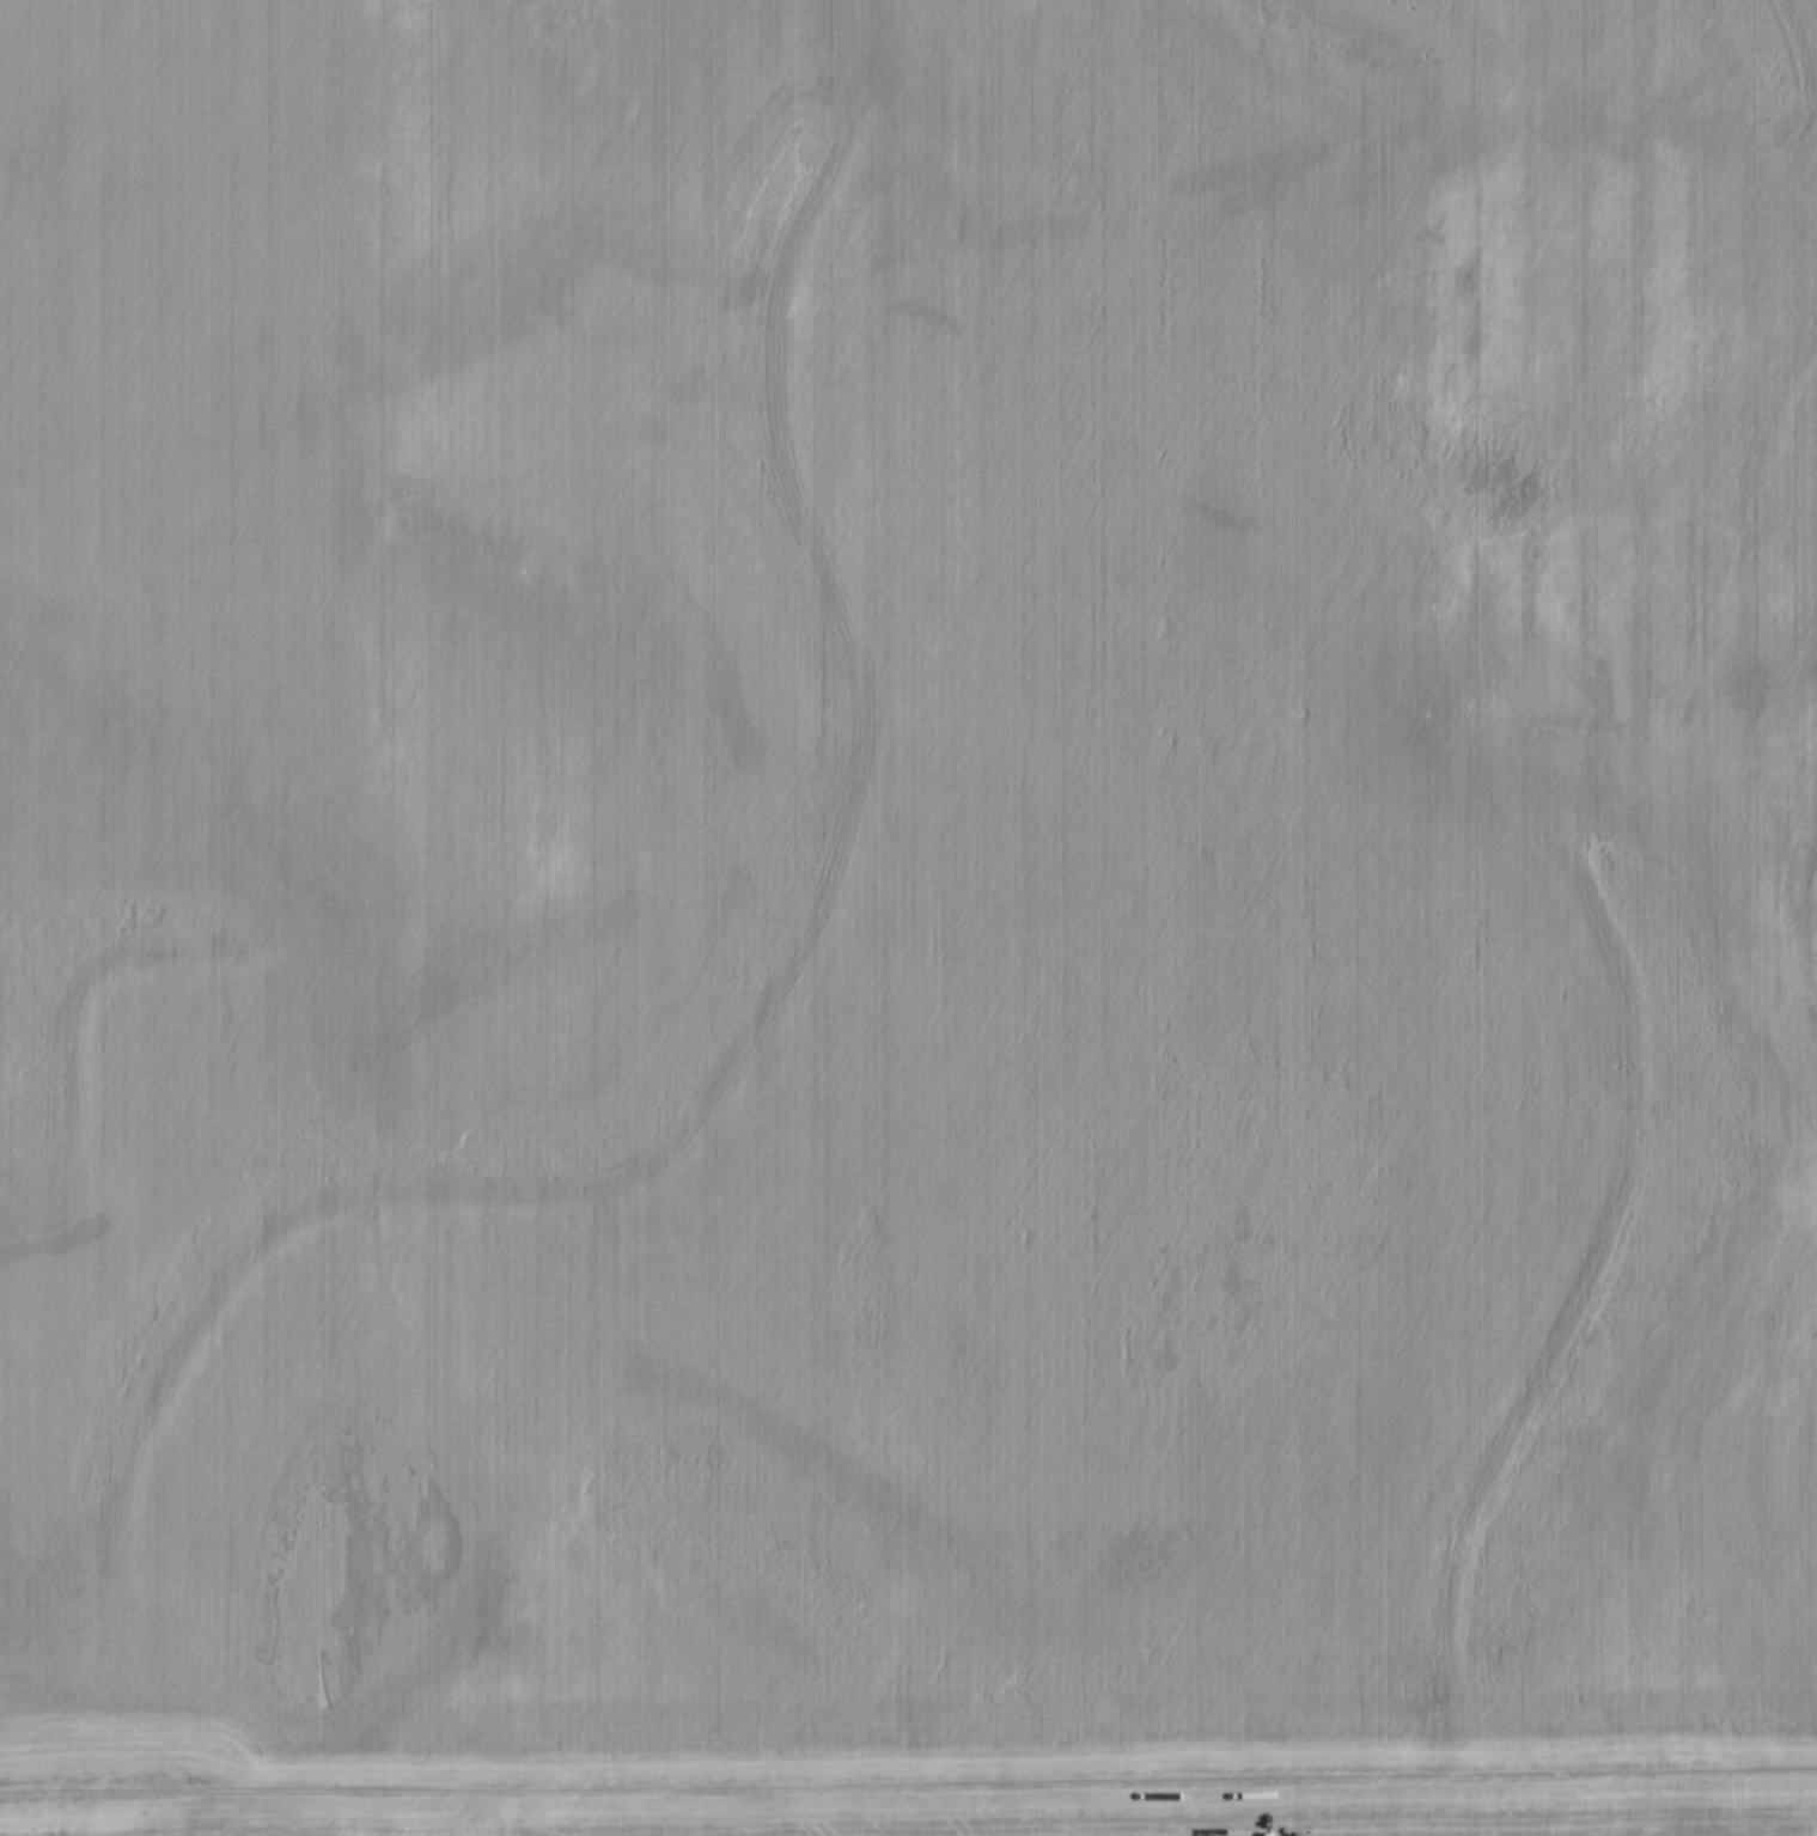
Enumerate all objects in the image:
road: (908, 1791)

